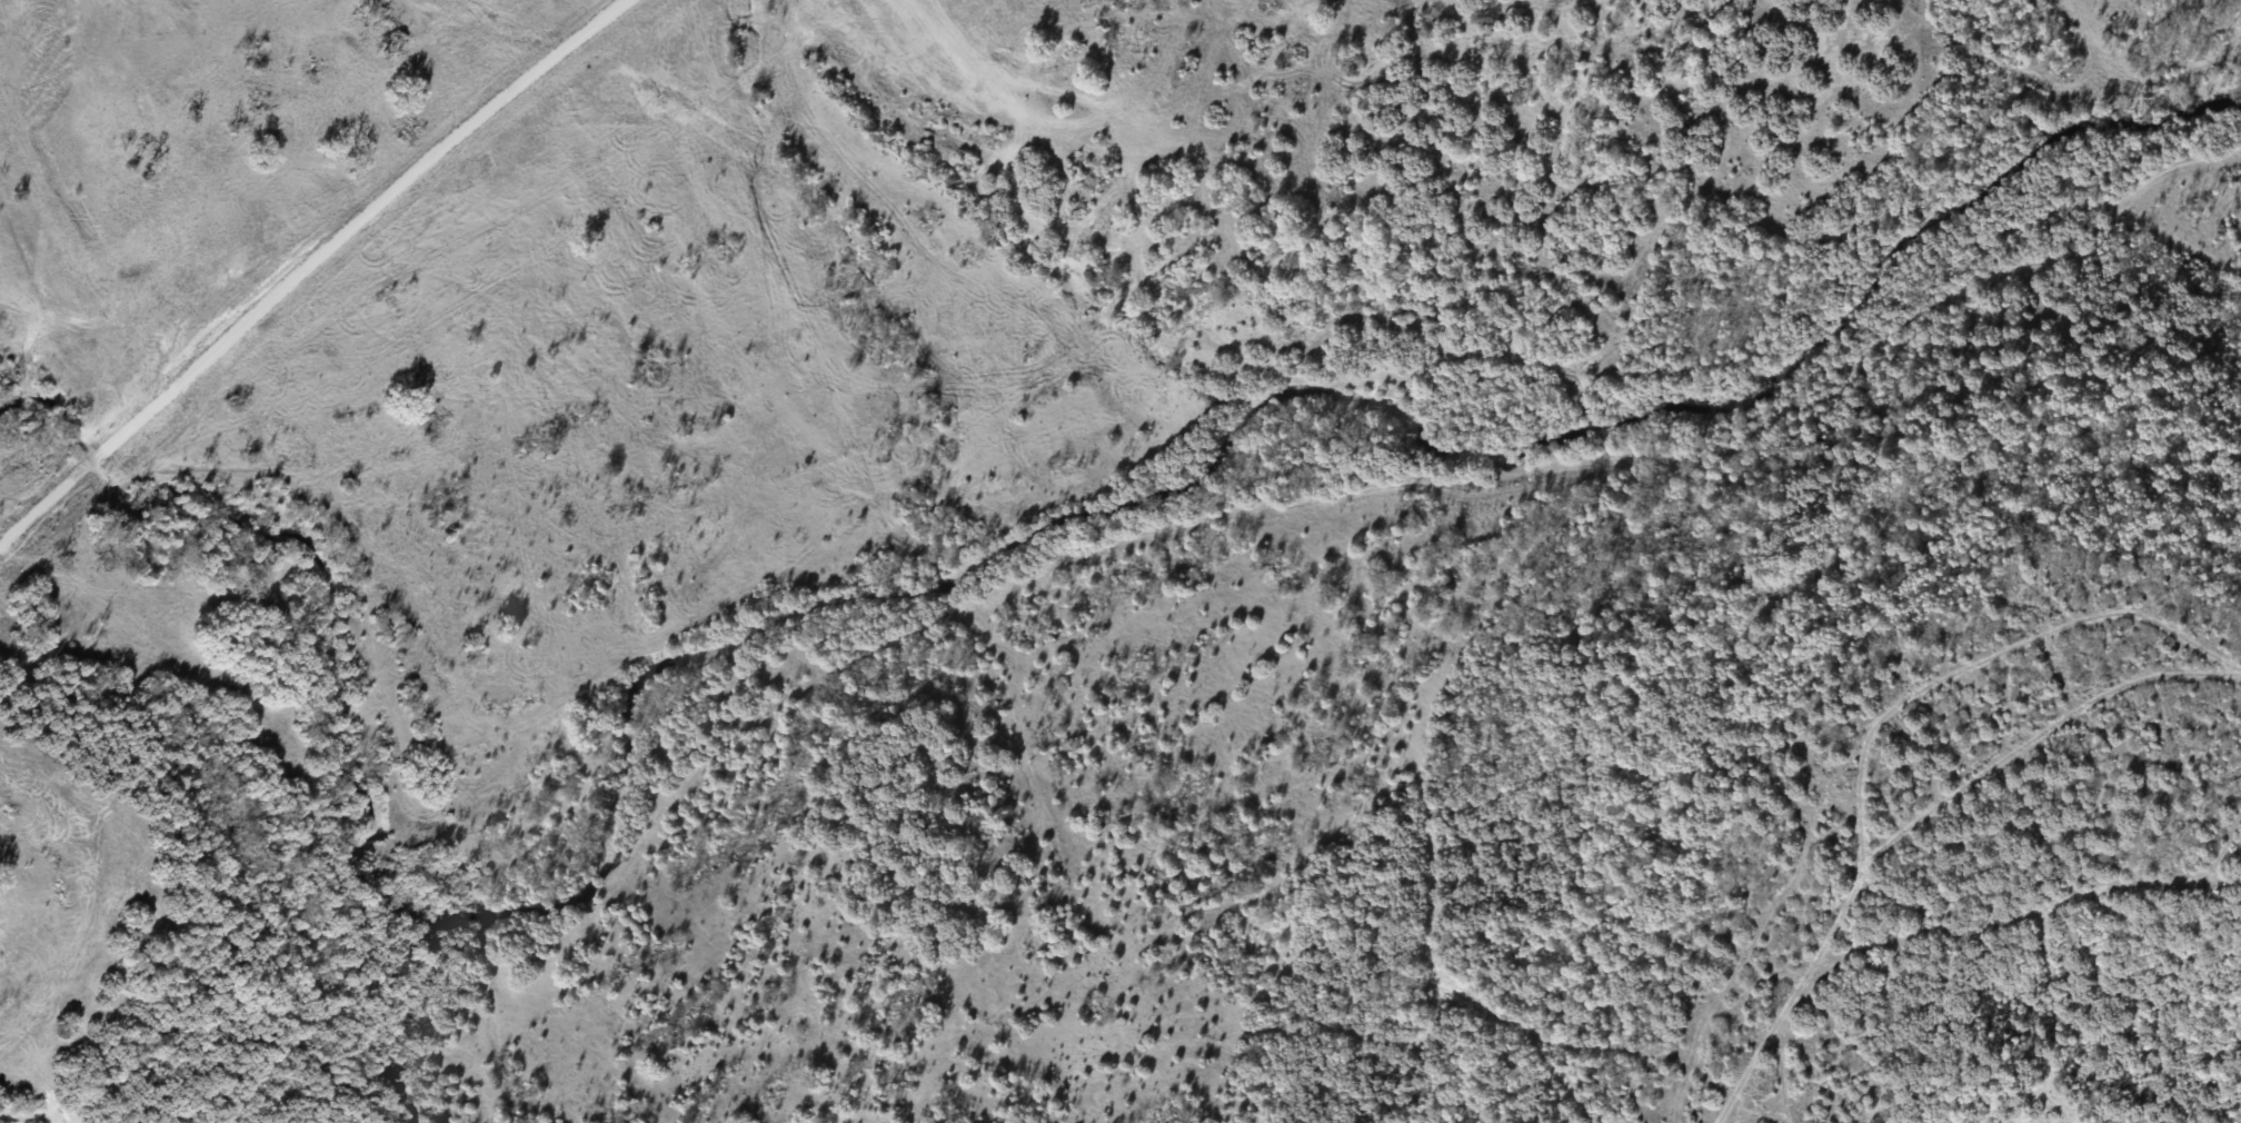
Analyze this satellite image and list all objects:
road: (308, 266)

